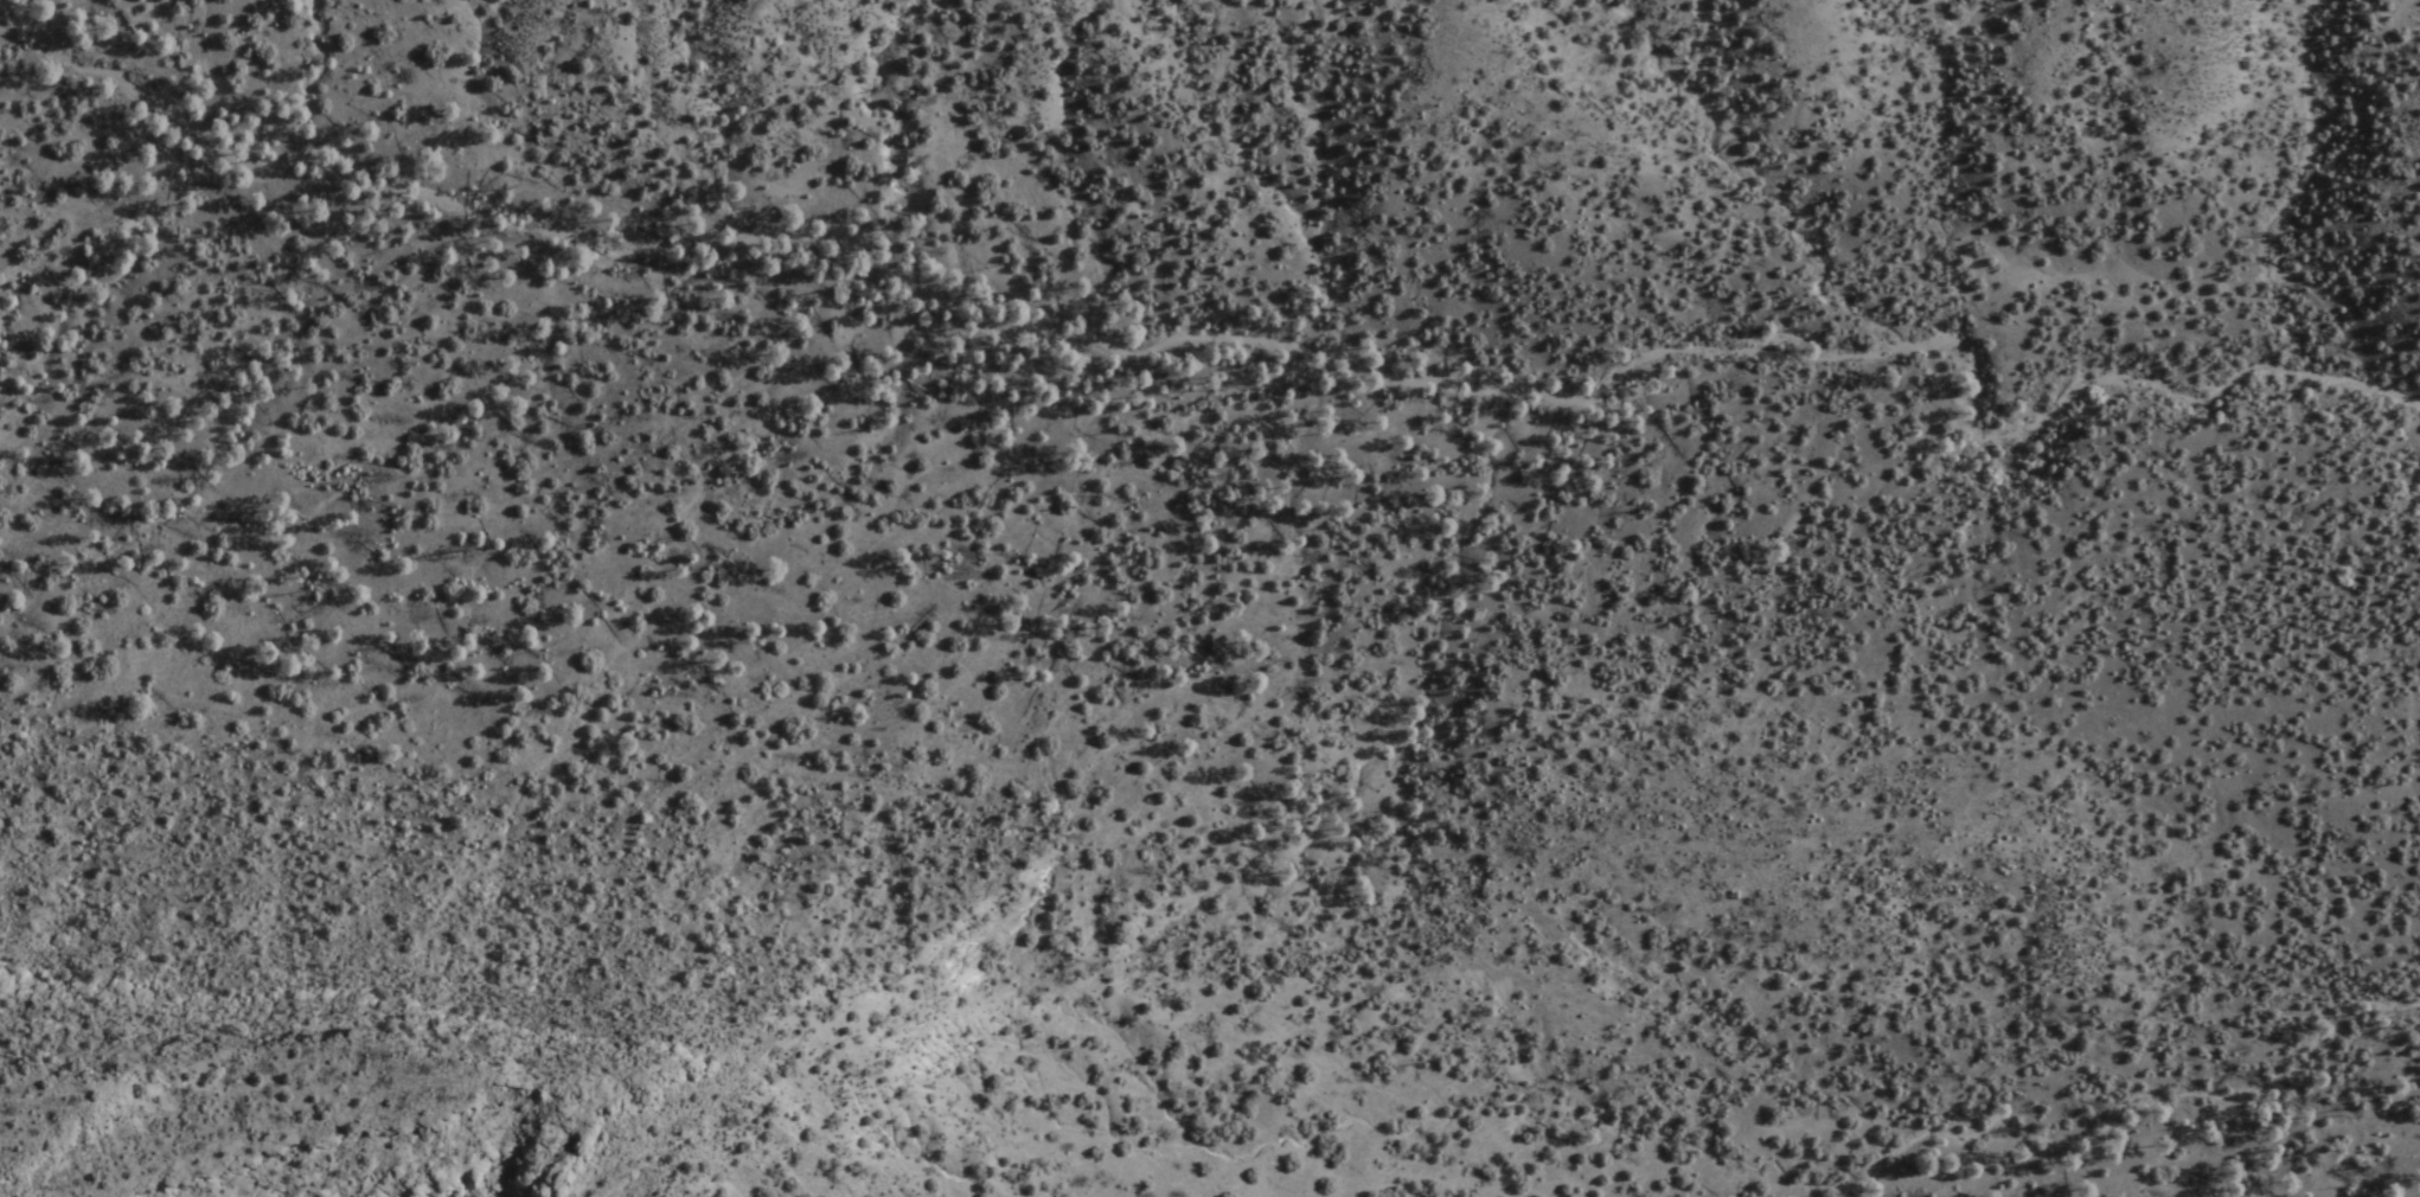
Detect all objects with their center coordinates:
road: (32, 1099)

